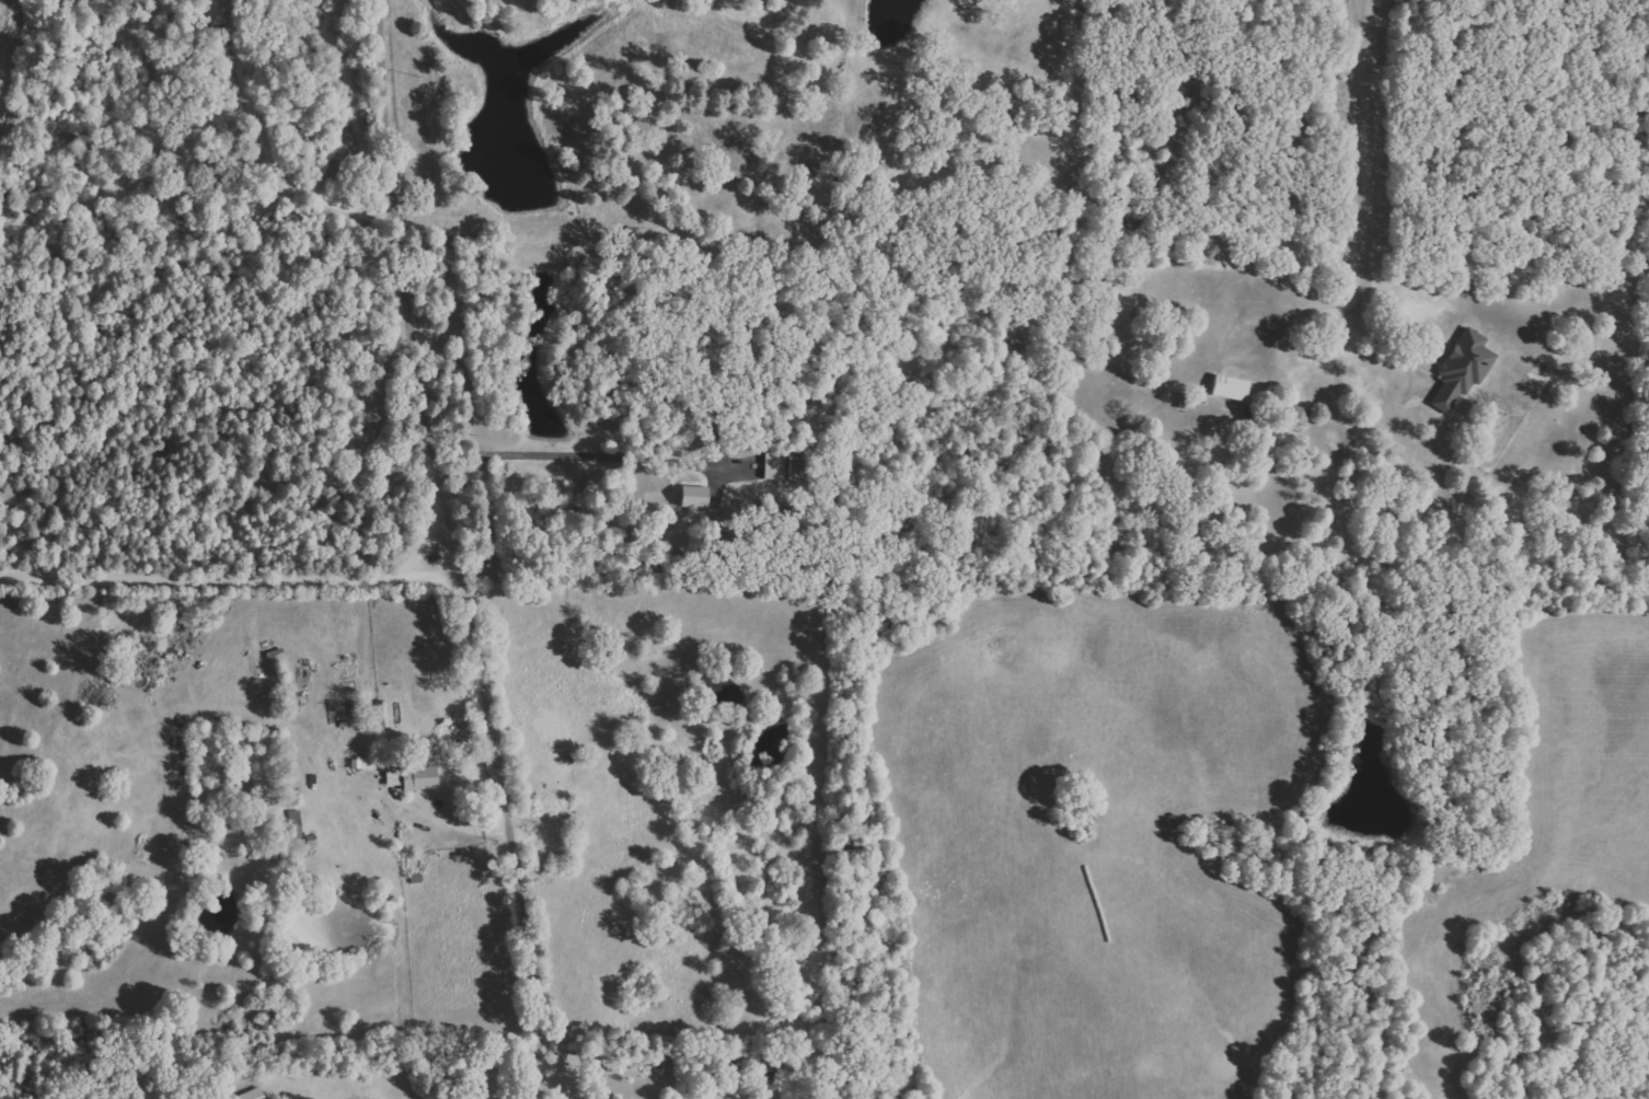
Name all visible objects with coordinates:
building: (219, 11)
road: (1375, 213)
road: (414, 287)
building: (1463, 369)
building: (1231, 387)
building: (1300, 415)
road: (590, 458)
building: (694, 497)
road: (474, 610)
building: (364, 764)
building: (419, 779)
road: (447, 820)
building: (295, 824)

